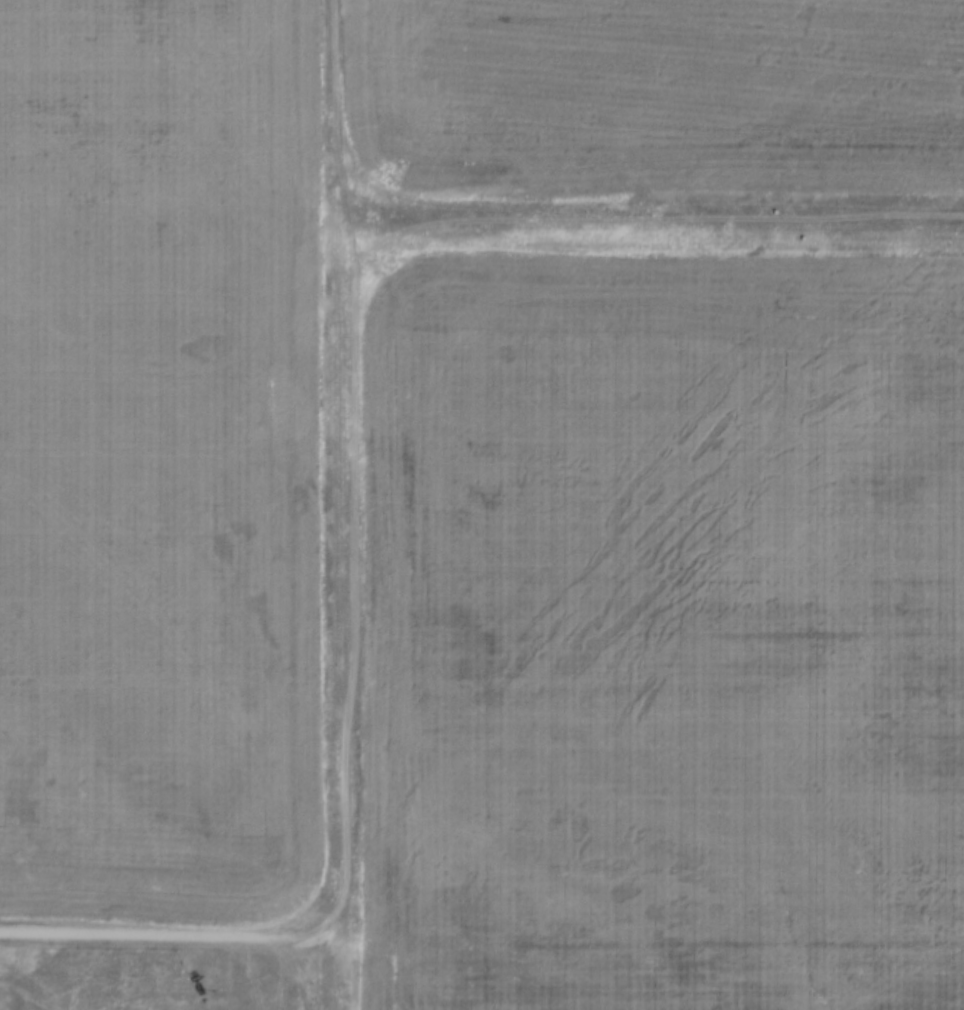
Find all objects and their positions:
road: (339, 629)

